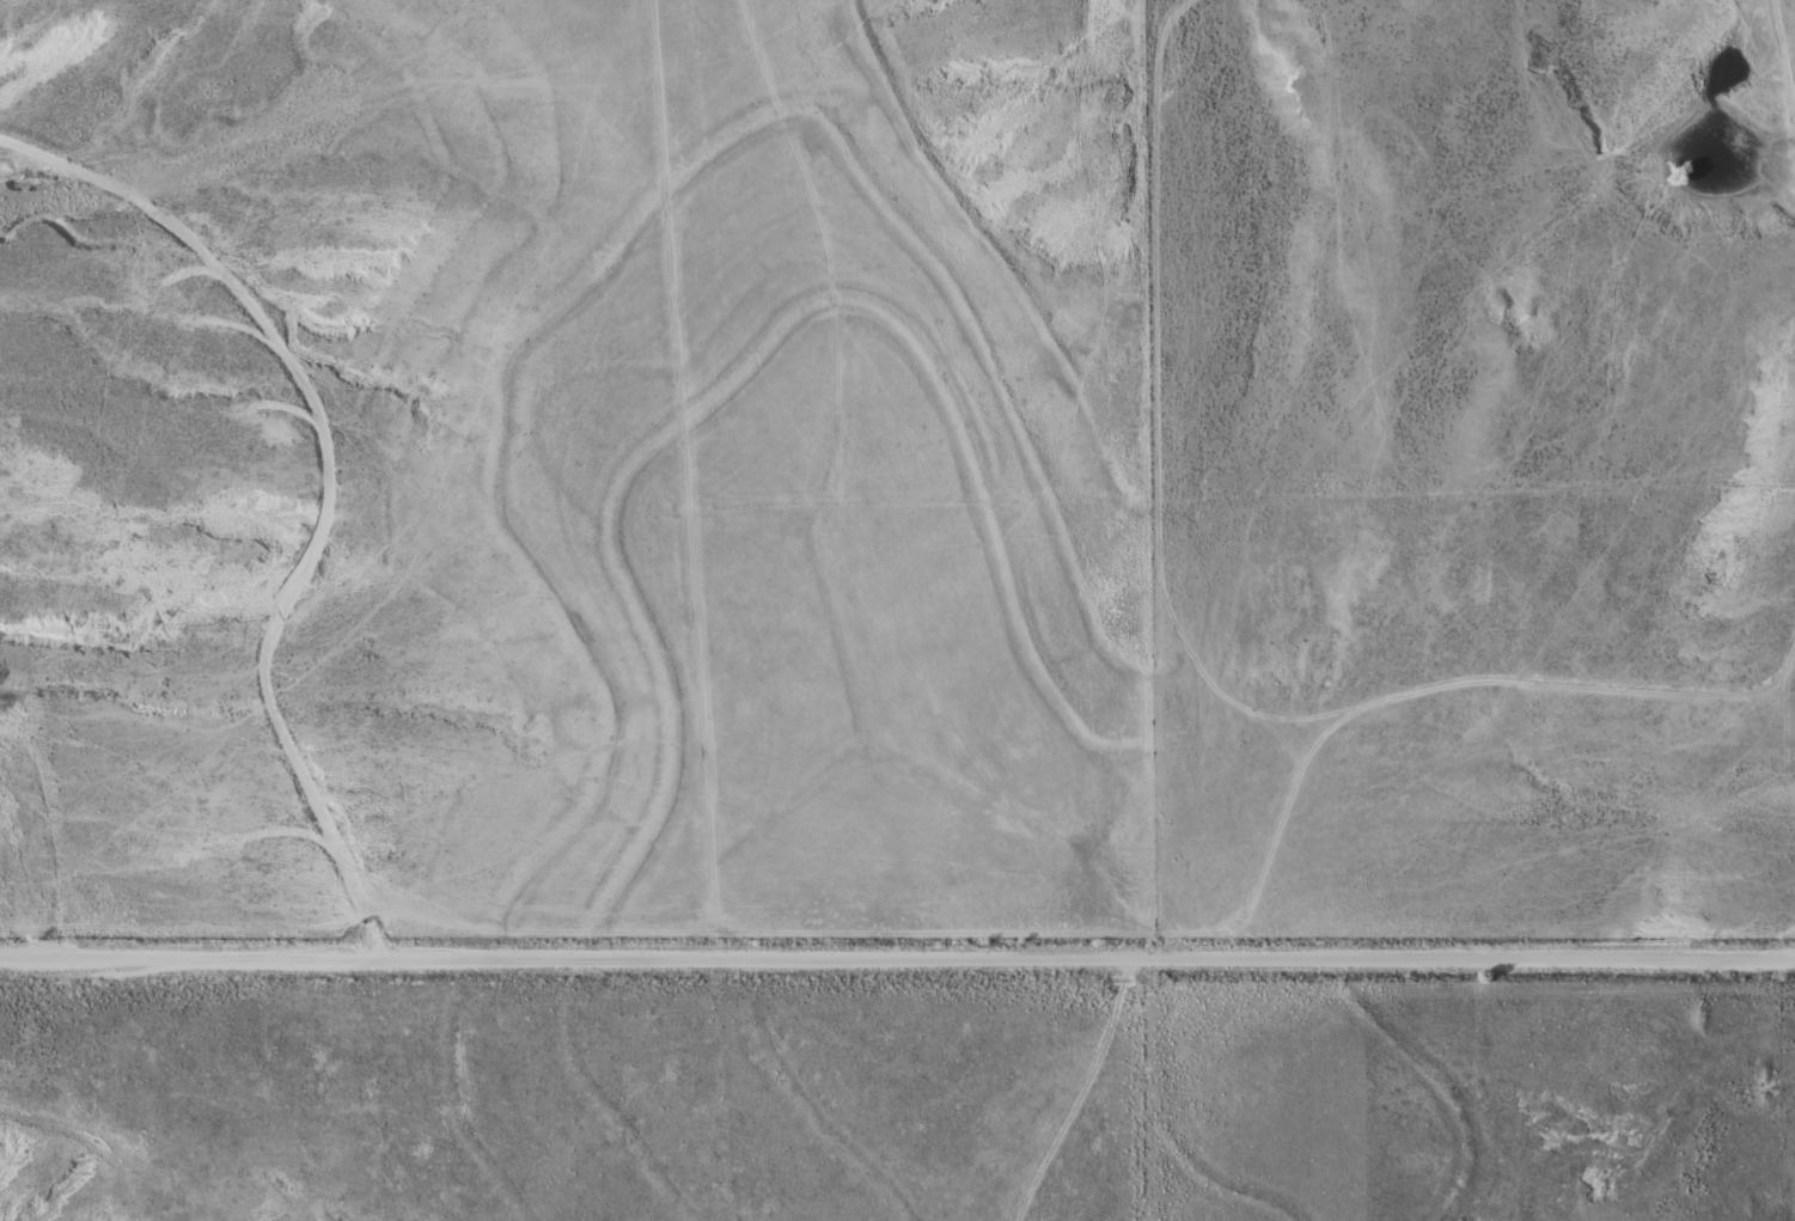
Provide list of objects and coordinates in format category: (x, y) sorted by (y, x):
road: (897, 956)

